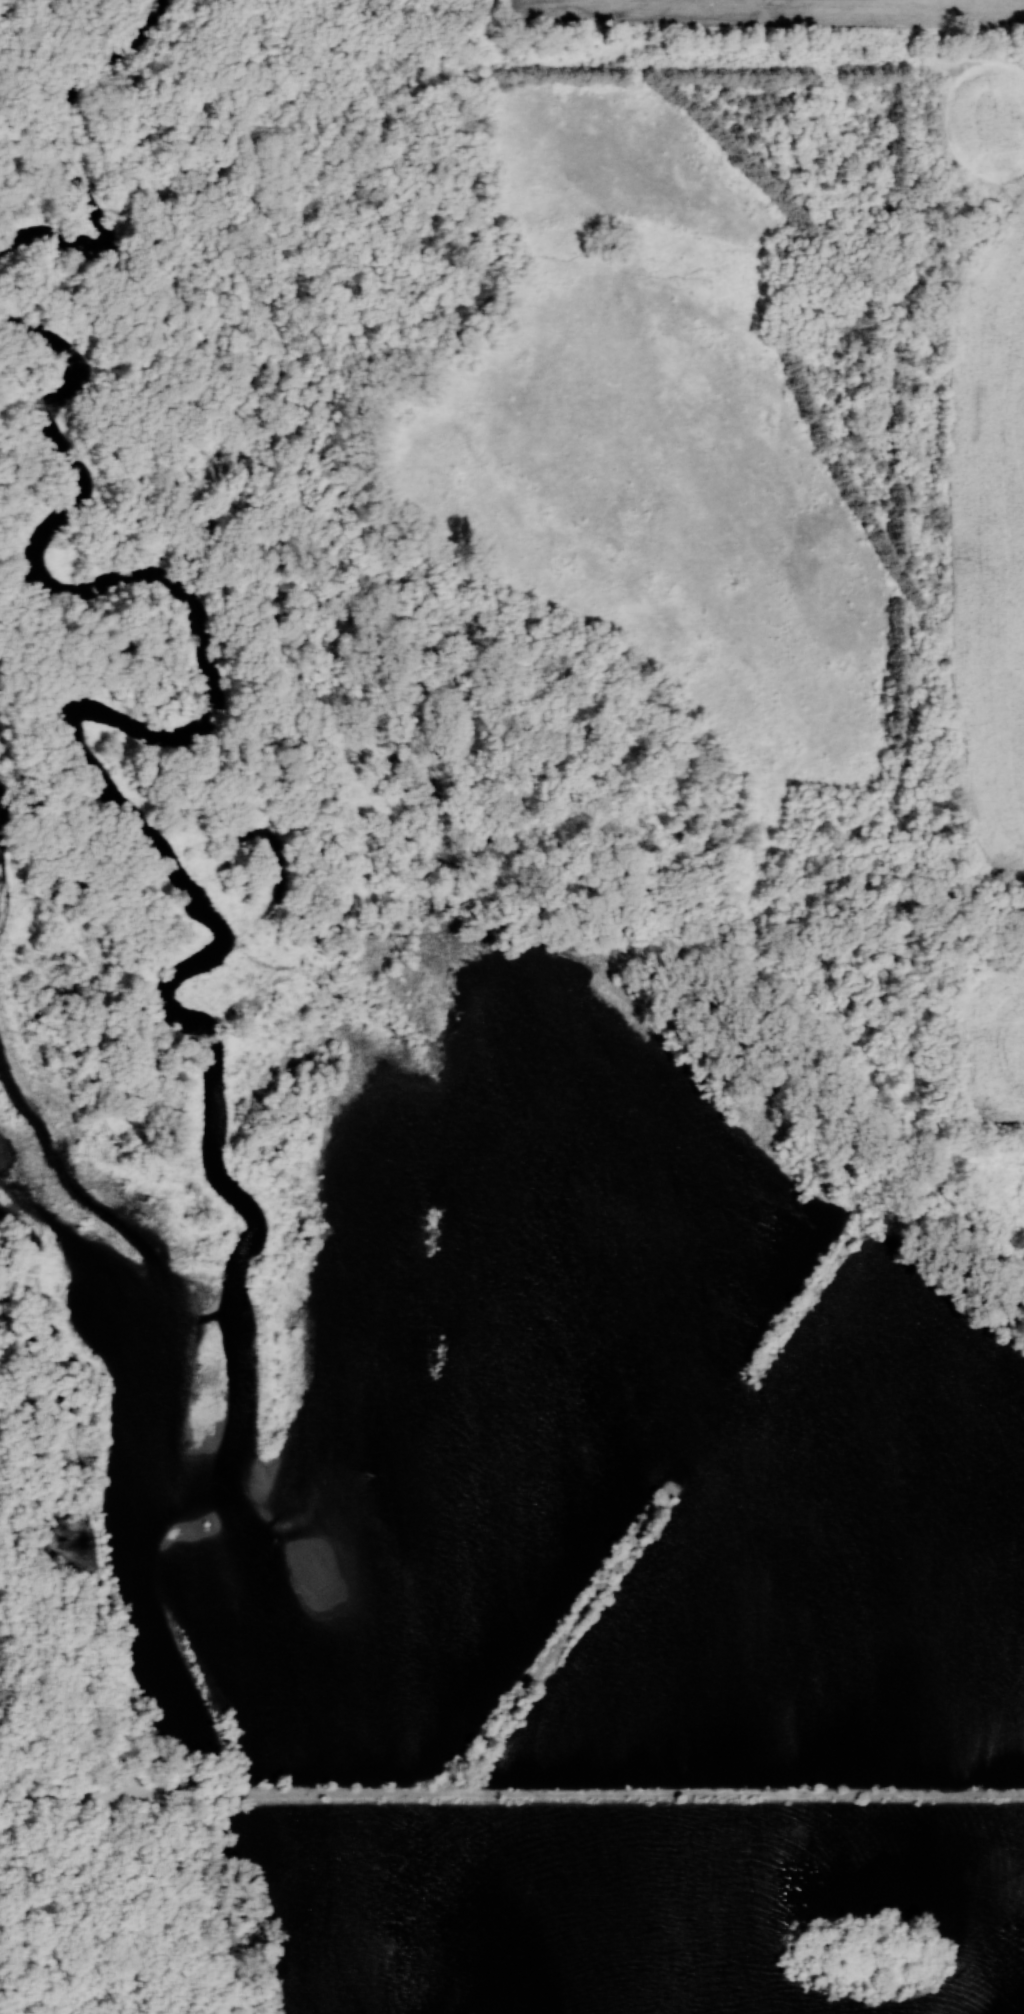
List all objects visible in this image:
parking lot: (134, 1779)
road: (72, 1800)
park: (603, 1887)

